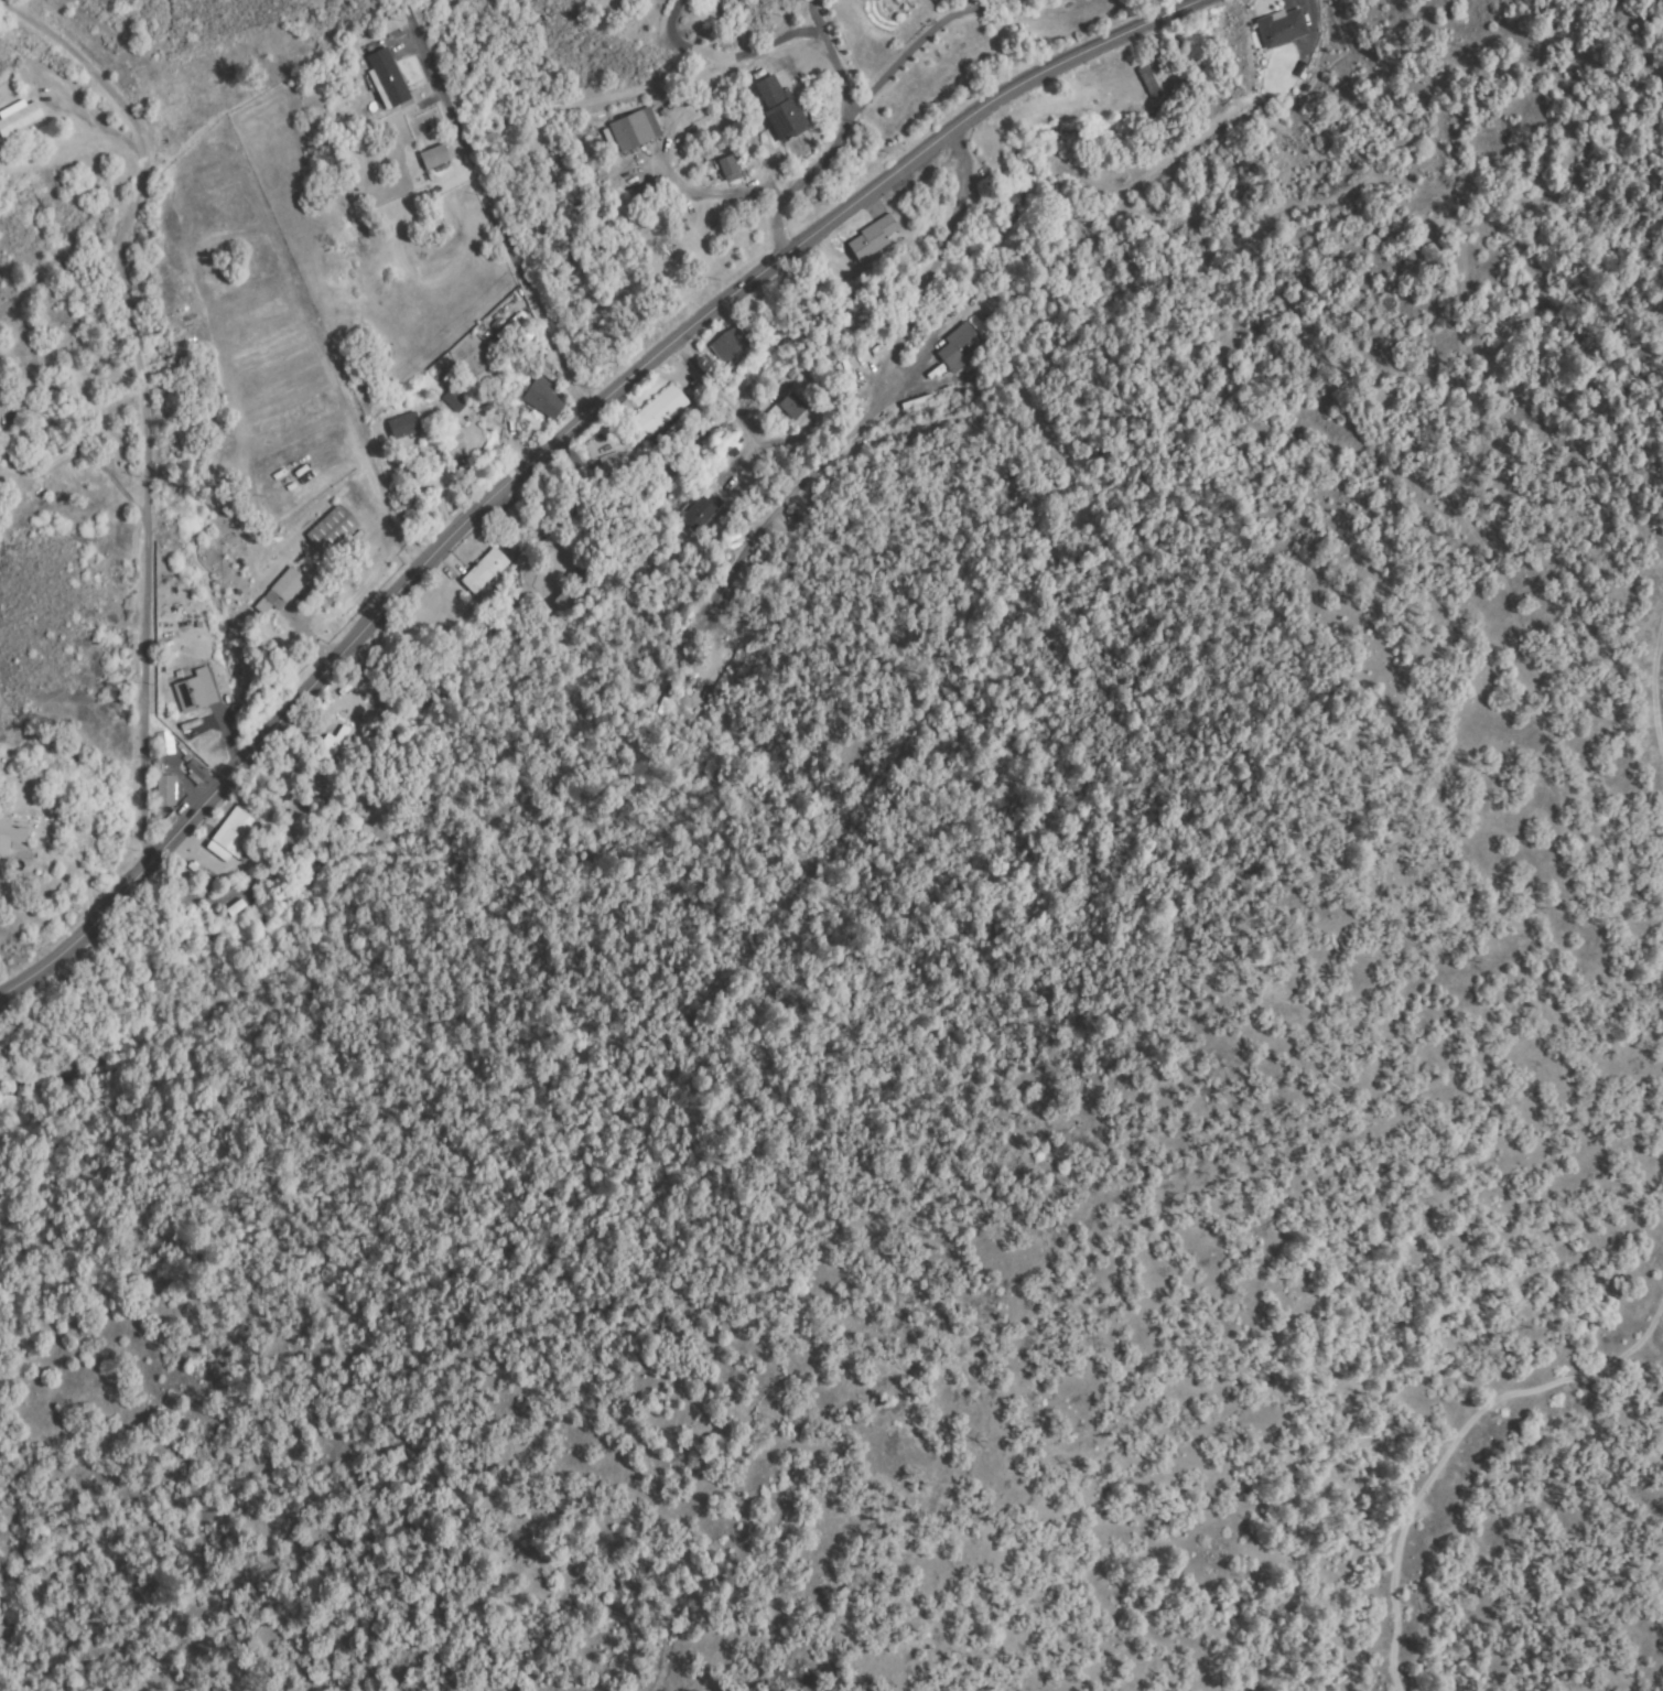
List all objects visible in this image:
building: (1282, 29)
building: (387, 78)
building: (1149, 83)
building: (781, 110)
building: (17, 119)
building: (633, 130)
building: (430, 160)
building: (730, 166)
road: (497, 236)
building: (874, 237)
building: (728, 345)
building: (959, 346)
building: (544, 399)
building: (457, 400)
building: (792, 407)
building: (660, 411)
building: (404, 427)
road: (558, 443)
building: (612, 462)
building: (698, 515)
building: (333, 531)
building: (484, 571)
building: (282, 592)
building: (562, 602)
building: (193, 693)
building: (334, 743)
building: (165, 744)
building: (197, 771)
building: (168, 790)
building: (237, 832)
building: (10, 837)
building: (218, 852)
building: (240, 908)

